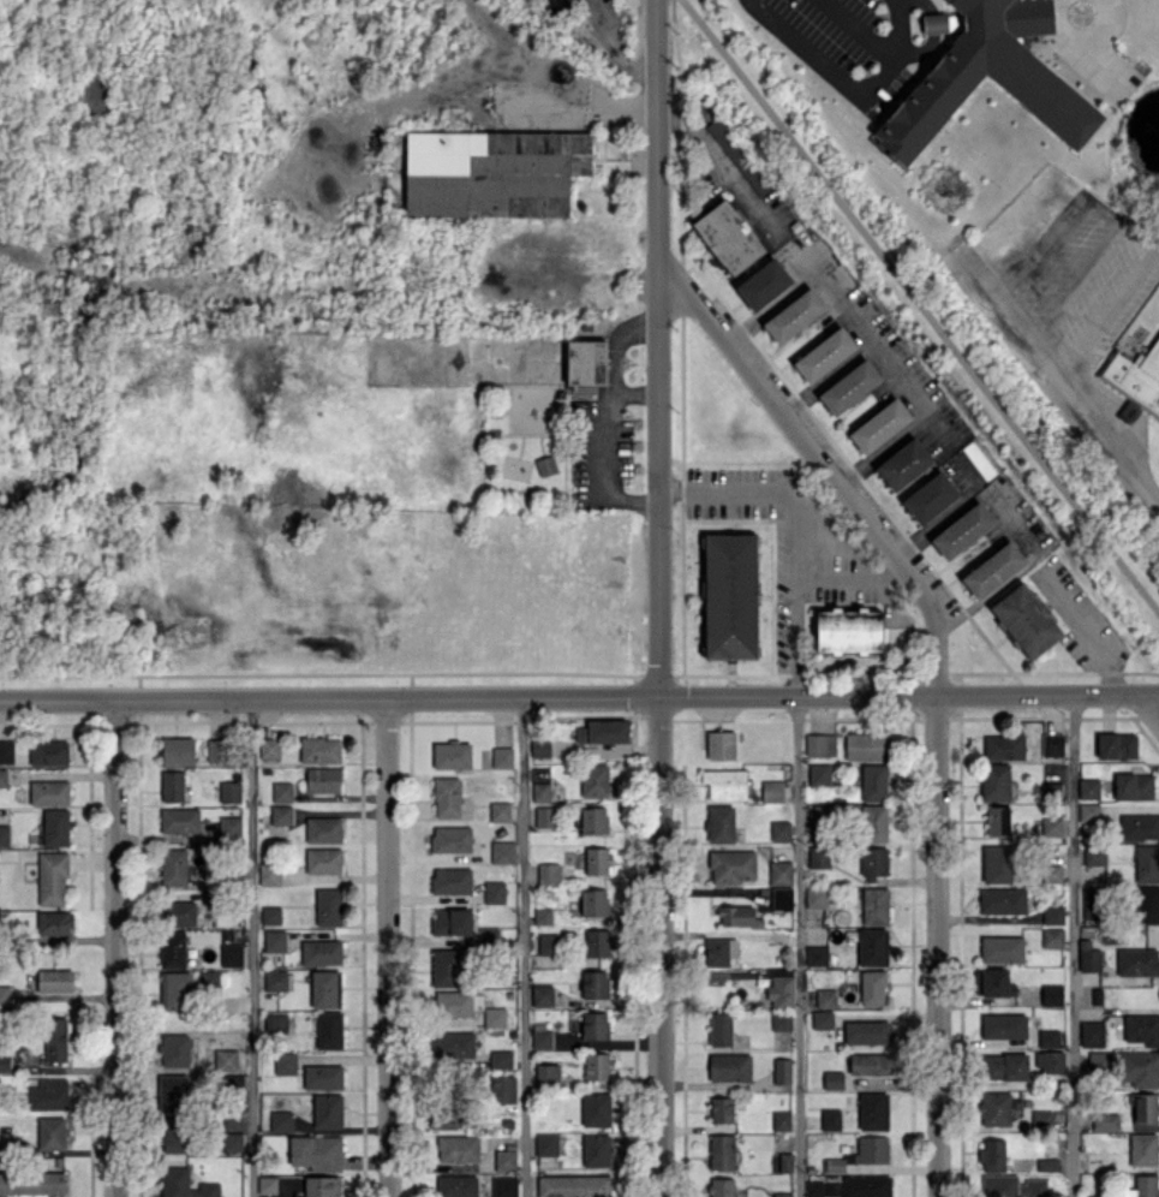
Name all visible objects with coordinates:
building: (557, 0)
road: (865, 20)
building: (934, 23)
road: (1089, 23)
road: (838, 70)
building: (988, 77)
building: (739, 155)
building: (492, 172)
road: (1127, 230)
building: (728, 237)
road: (1074, 279)
building: (763, 284)
road: (324, 296)
road: (920, 305)
building: (794, 315)
road: (867, 337)
road: (613, 340)
building: (824, 355)
building: (585, 362)
road: (823, 375)
building: (1135, 377)
building: (849, 387)
road: (634, 392)
road: (1079, 394)
building: (879, 425)
building: (978, 459)
building: (903, 464)
building: (545, 465)
road: (608, 469)
road: (825, 470)
building: (930, 498)
building: (962, 530)
road: (791, 531)
building: (992, 568)
road: (844, 574)
building: (729, 595)
road: (657, 598)
building: (1026, 620)
building: (848, 630)
road: (579, 696)
road: (1149, 705)
building: (603, 732)
building: (721, 744)
building: (819, 744)
building: (1052, 744)
building: (865, 745)
building: (1116, 745)
building: (1004, 746)
building: (269, 748)
building: (539, 748)
building: (319, 749)
building: (178, 750)
building: (217, 750)
building: (6, 751)
building: (48, 752)
building: (452, 755)
building: (502, 757)
building: (819, 774)
building: (2, 776)
building: (323, 780)
building: (593, 780)
building: (994, 781)
building: (873, 782)
building: (724, 784)
building: (172, 785)
building: (1133, 786)
building: (1088, 788)
building: (281, 791)
building: (540, 791)
building: (772, 791)
building: (48, 792)
building: (229, 792)
building: (447, 797)
building: (500, 811)
building: (1089, 812)
building: (281, 815)
building: (545, 816)
building: (179, 820)
building: (593, 820)
building: (997, 820)
building: (721, 823)
building: (873, 823)
building: (1051, 826)
building: (55, 827)
building: (231, 827)
building: (1139, 827)
building: (323, 829)
building: (779, 830)
building: (4, 835)
building: (450, 839)
building: (502, 852)
building: (818, 856)
building: (1094, 856)
building: (323, 859)
building: (597, 860)
building: (873, 863)
building: (1147, 863)
building: (997, 864)
building: (733, 865)
building: (173, 867)
building: (548, 873)
building: (779, 873)
building: (1051, 873)
building: (269, 874)
building: (52, 879)
building: (450, 880)
building: (494, 892)
building: (816, 897)
building: (781, 898)
building: (1002, 900)
building: (593, 901)
building: (1092, 903)
building: (1147, 904)
building: (874, 905)
building: (328, 906)
building: (177, 913)
building: (270, 915)
building: (1052, 915)
building: (543, 916)
building: (737, 916)
building: (452, 921)
building: (54, 925)
building: (488, 935)
building: (1052, 937)
building: (274, 940)
building: (597, 942)
building: (548, 943)
road: (934, 945)
road: (1073, 945)
road: (522, 946)
road: (797, 946)
building: (871, 946)
road: (252, 947)
road: (388, 947)
road: (114, 948)
building: (1002, 948)
building: (172, 949)
building: (718, 951)
building: (321, 952)
building: (231, 954)
building: (816, 955)
building: (1089, 959)
building: (1137, 961)
building: (447, 967)
building: (275, 979)
building: (54, 981)
building: (992, 982)
building: (593, 984)
building: (324, 988)
building: (779, 988)
building: (872, 988)
building: (175, 990)
building: (5, 994)
building: (1052, 994)
building: (542, 995)
building: (825, 997)
building: (453, 1004)
building: (494, 1017)
building: (822, 1019)
building: (781, 1020)
building: (275, 1023)
building: (595, 1025)
building: (1003, 1025)
building: (719, 1029)
building: (1142, 1029)
building: (329, 1030)
building: (866, 1031)
building: (1092, 1034)
building: (1049, 1037)
building: (540, 1038)
building: (54, 1040)
building: (453, 1044)
building: (174, 1049)
building: (225, 1059)
building: (500, 1059)
building: (1049, 1061)
building: (1098, 1061)
building: (285, 1062)
building: (870, 1064)
building: (597, 1066)
building: (729, 1066)
building: (1004, 1066)
building: (1140, 1067)
building: (781, 1071)
building: (546, 1074)
building: (323, 1077)
building: (832, 1079)
building: (503, 1089)
building: (173, 1092)
building: (48, 1094)
building: (997, 1107)
building: (1143, 1107)
building: (596, 1109)
building: (721, 1109)
building: (327, 1110)
building: (873, 1110)
building: (444, 1115)
building: (830, 1119)
building: (1041, 1119)
building: (281, 1120)
building: (781, 1120)
building: (1105, 1120)
building: (52, 1132)
building: (173, 1135)
building: (6, 1142)
building: (232, 1142)
building: (546, 1143)
building: (458, 1149)
building: (872, 1149)
building: (1143, 1149)
building: (596, 1150)
building: (316, 1151)
building: (721, 1151)
building: (992, 1154)
building: (506, 1160)
building: (1095, 1161)
building: (834, 1165)
building: (1047, 1165)
building: (32, 1183)
building: (184, 1184)
building: (267, 1185)
building: (455, 1185)
building: (574, 1185)
building: (322, 1186)
building: (504, 1186)
building: (722, 1186)
building: (866, 1186)
building: (1011, 1186)
building: (1142, 1186)
building: (813, 1187)
building: (832, 1189)
building: (782, 1195)
building: (1097, 1196)

